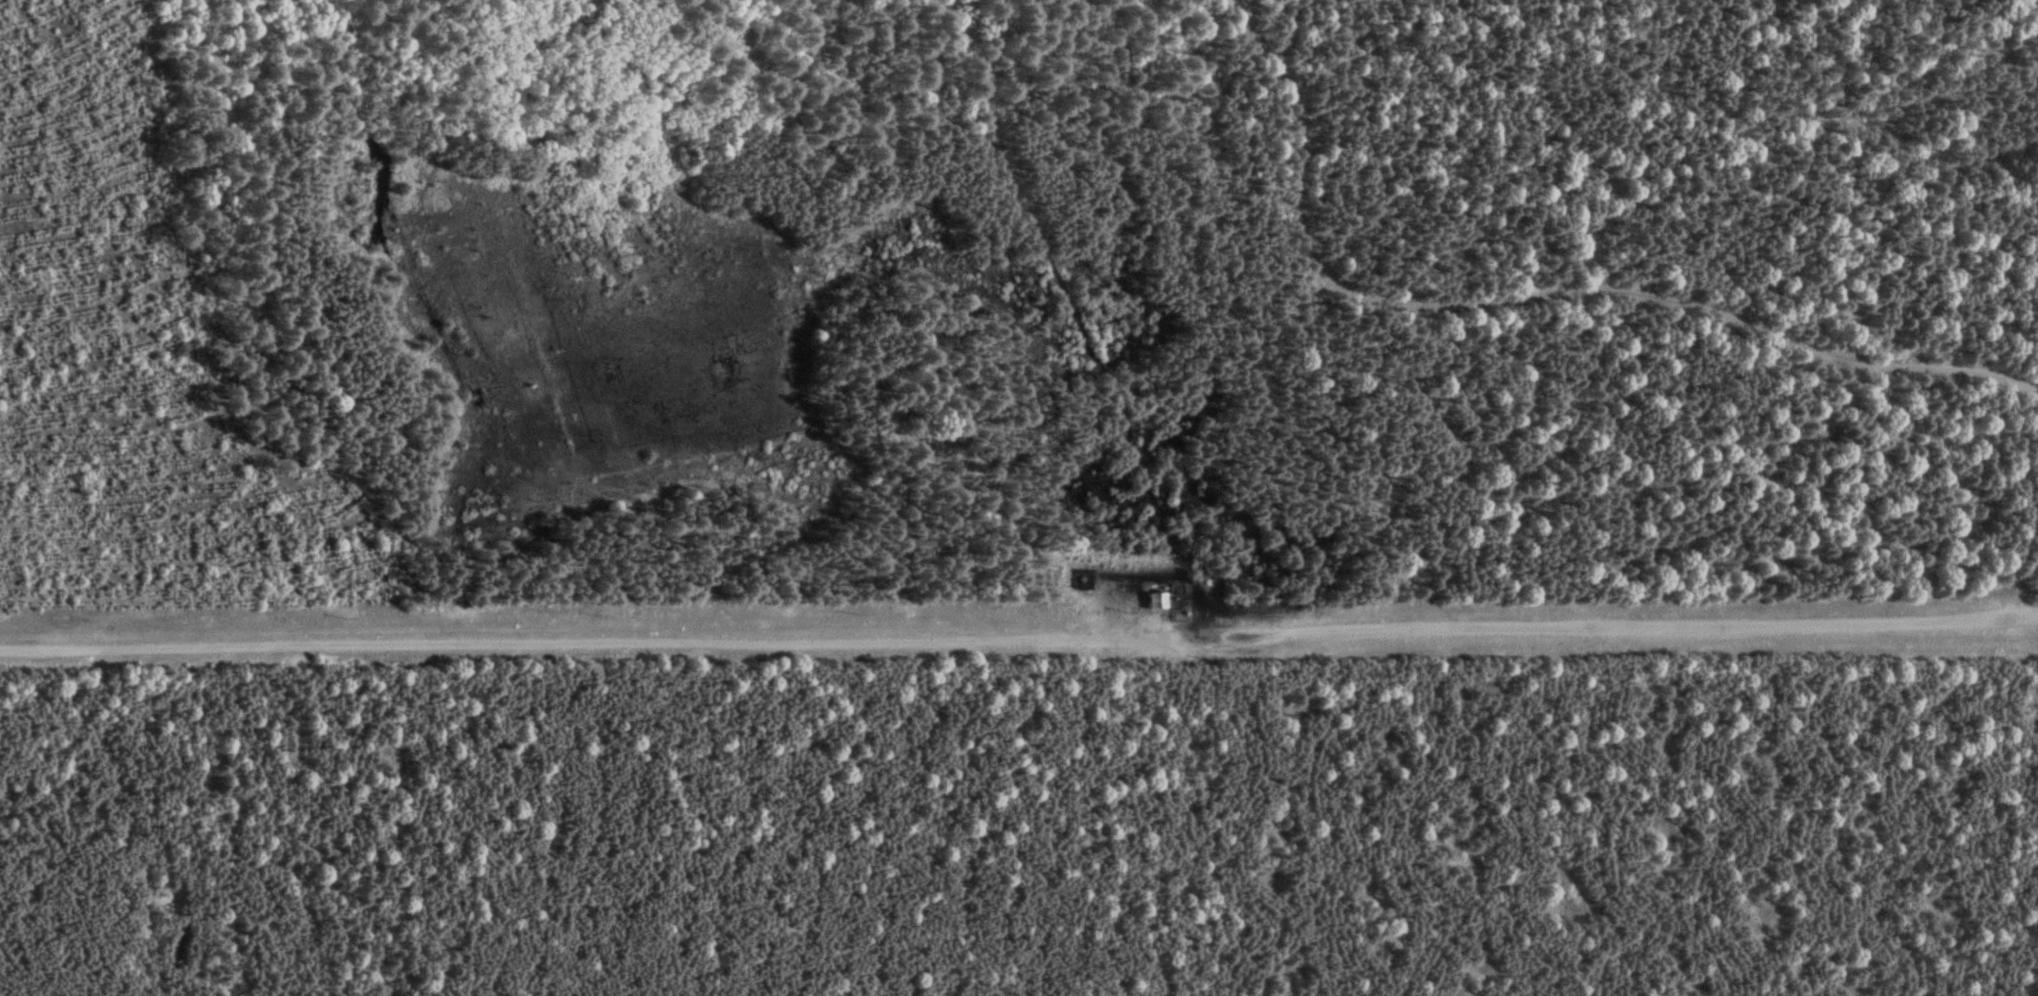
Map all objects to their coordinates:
road: (1537, 295)
road: (1065, 317)
road: (1019, 635)

